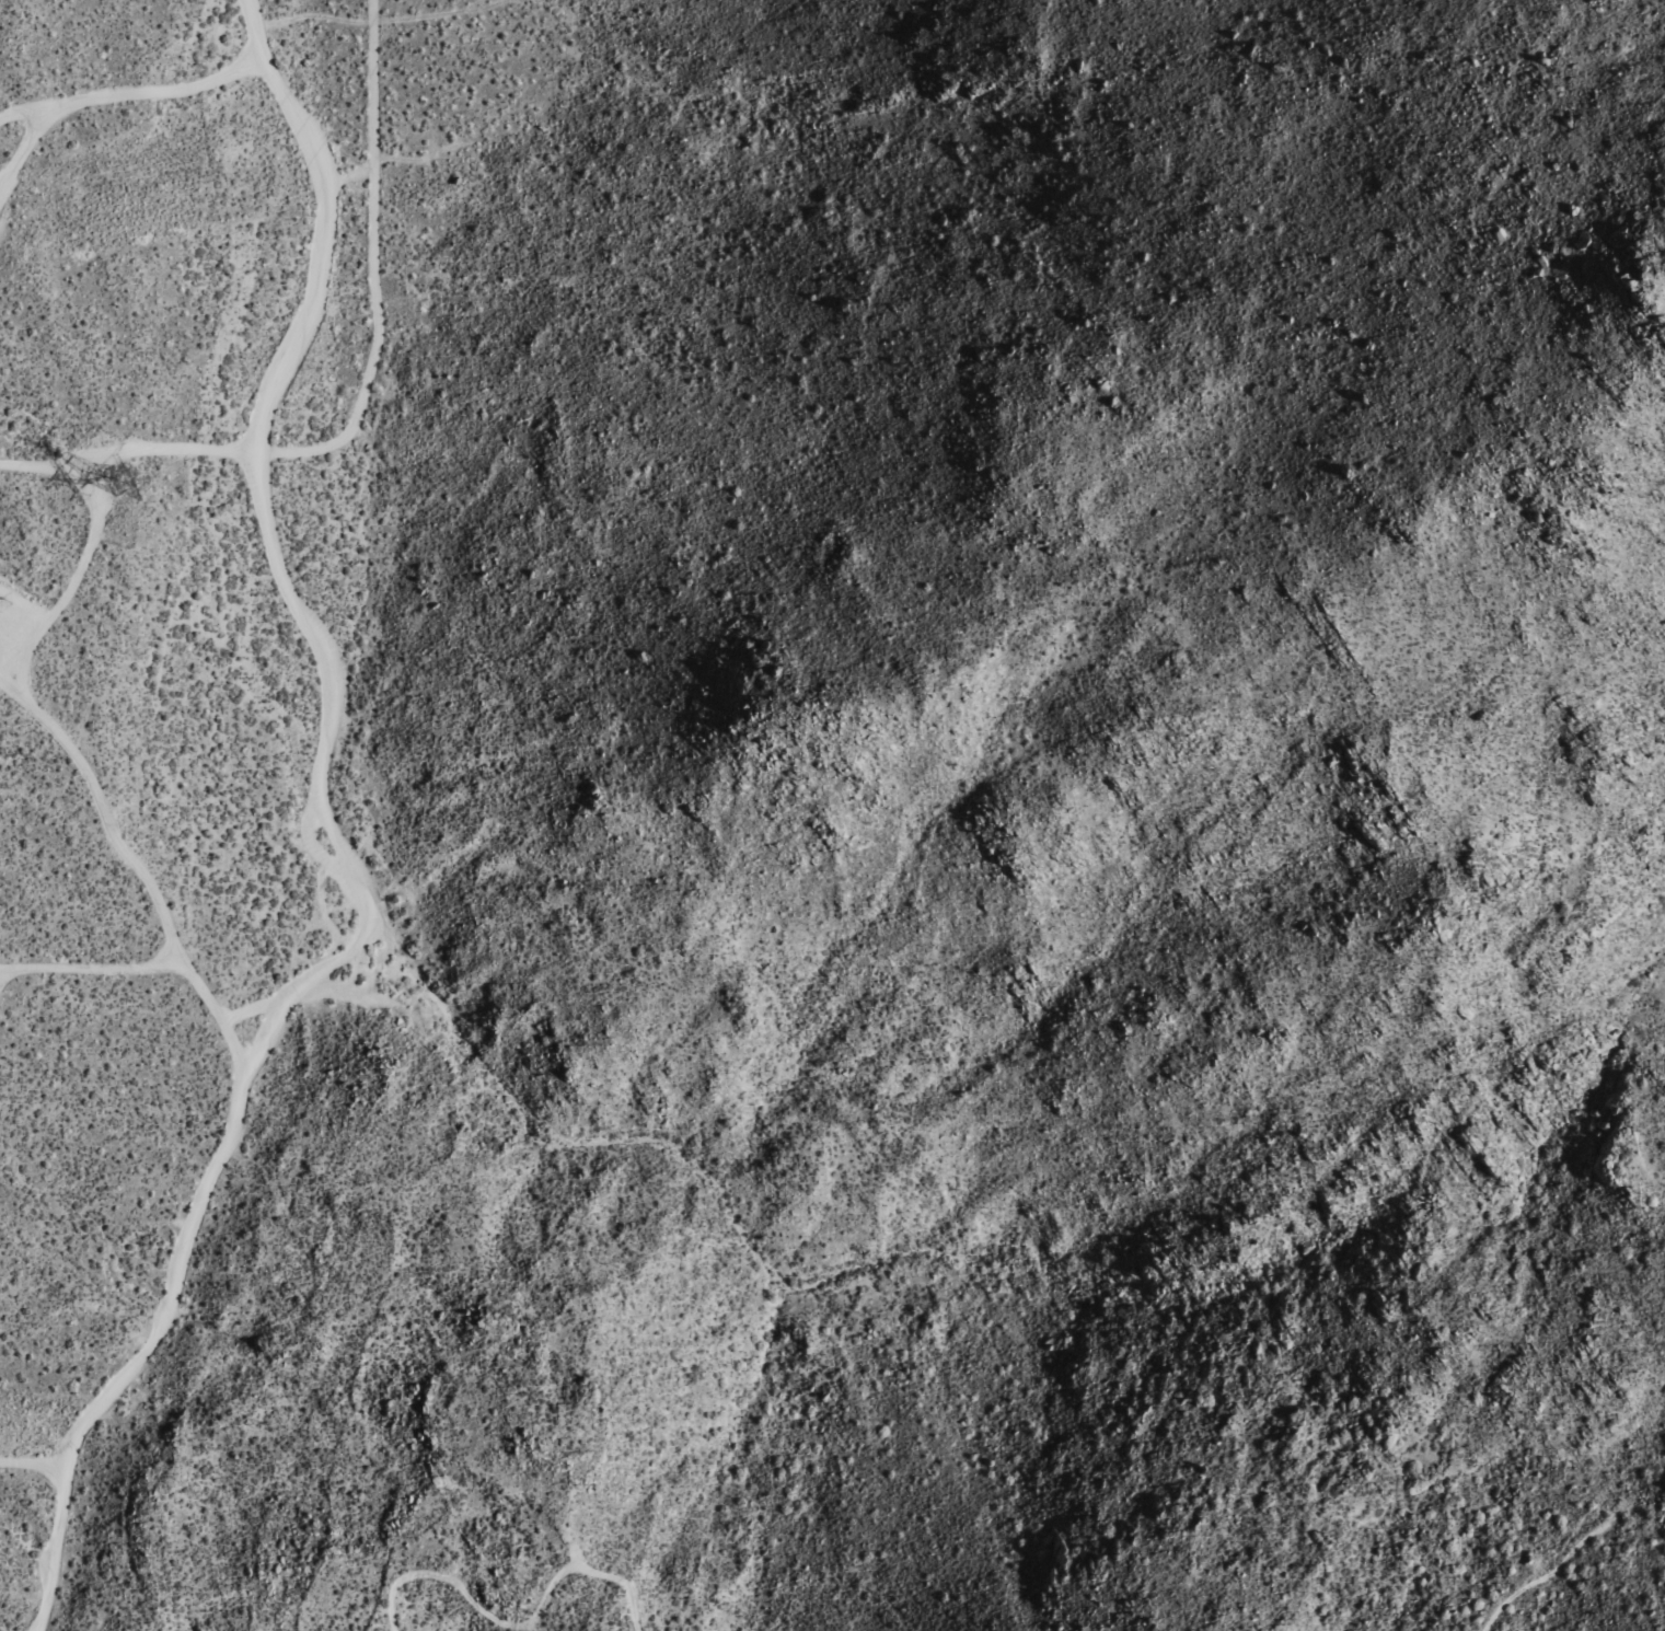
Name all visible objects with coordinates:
road: (127, 453)
power tower: (117, 482)
road: (72, 588)
road: (342, 854)
road: (140, 868)
road: (1557, 1569)
road: (516, 1626)

